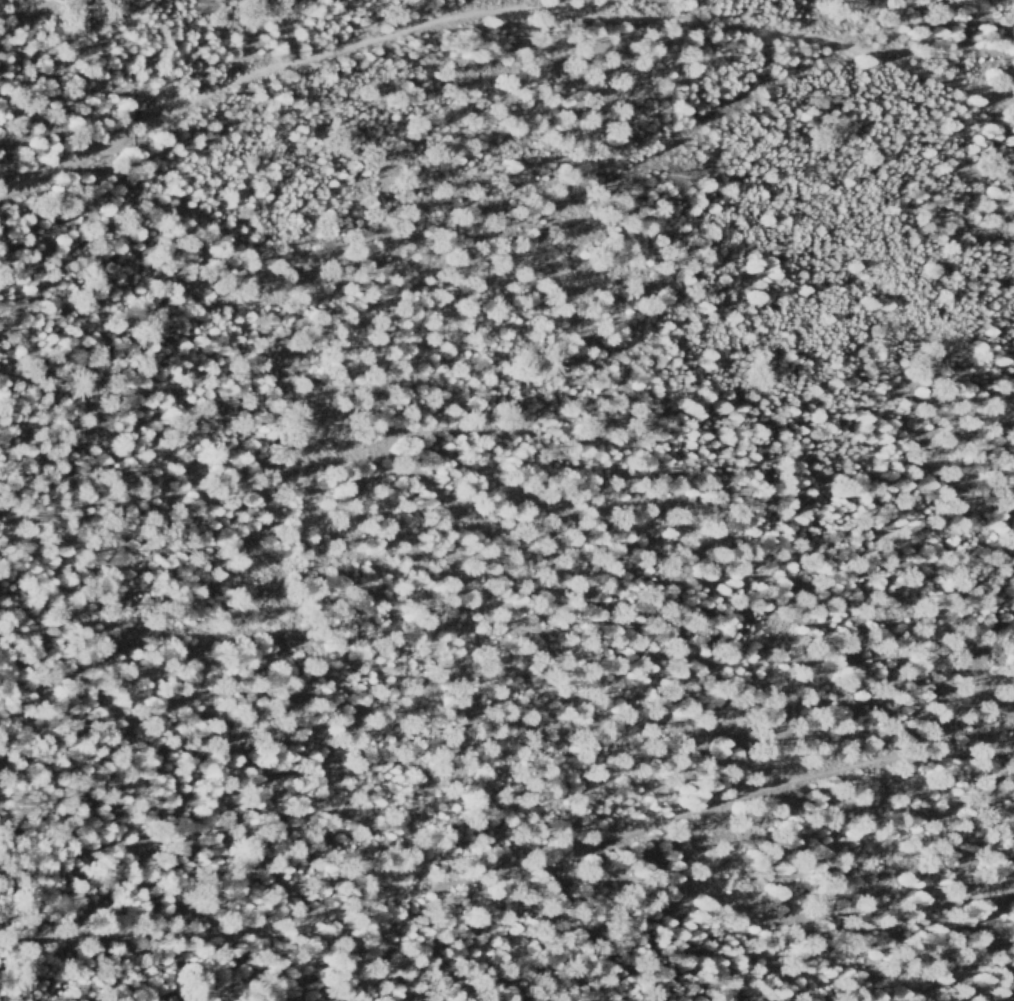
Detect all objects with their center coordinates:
road: (496, 12)
road: (802, 67)
road: (396, 379)
road: (511, 867)

